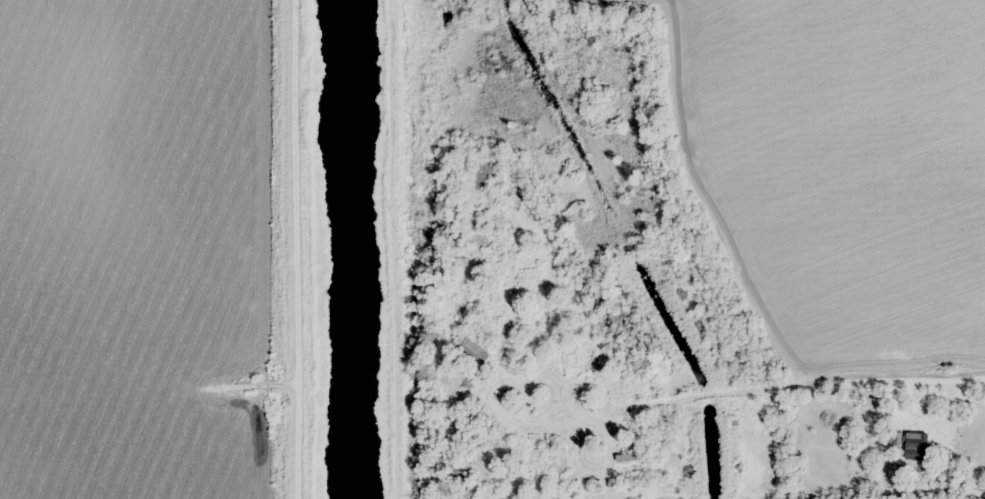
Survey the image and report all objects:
road: (306, 249)
river: (355, 249)
building: (474, 351)
road: (818, 375)
building: (916, 446)
building: (630, 455)

